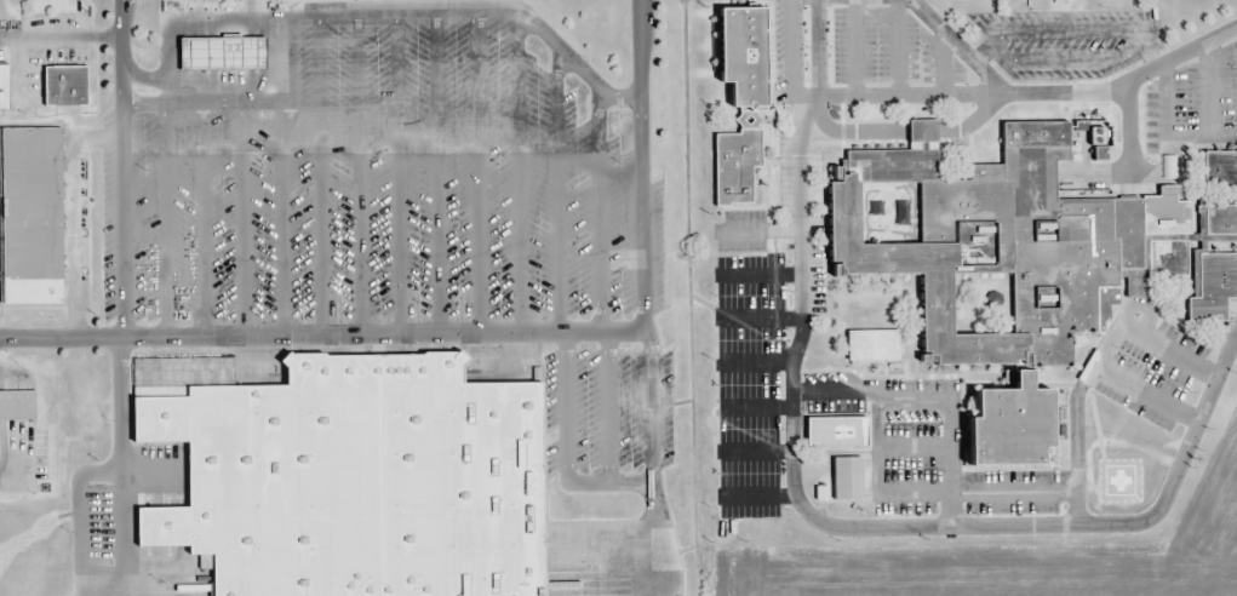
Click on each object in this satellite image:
road: (957, 42)
building: (227, 53)
gas station: (227, 53)
building: (748, 58)
road: (790, 58)
building: (4, 88)
building: (70, 88)
road: (1033, 90)
road: (972, 119)
road: (853, 130)
road: (927, 130)
road: (645, 165)
road: (120, 167)
building: (738, 168)
building: (1221, 168)
parking lot: (396, 188)
building: (33, 217)
building: (1021, 273)
road: (323, 332)
building: (21, 406)
road: (607, 407)
building: (840, 431)
road: (565, 449)
road: (651, 463)
road: (121, 465)
building: (348, 475)
building: (851, 478)
helipad: (1118, 478)
road: (145, 488)
road: (79, 514)
road: (819, 522)
road: (605, 556)

